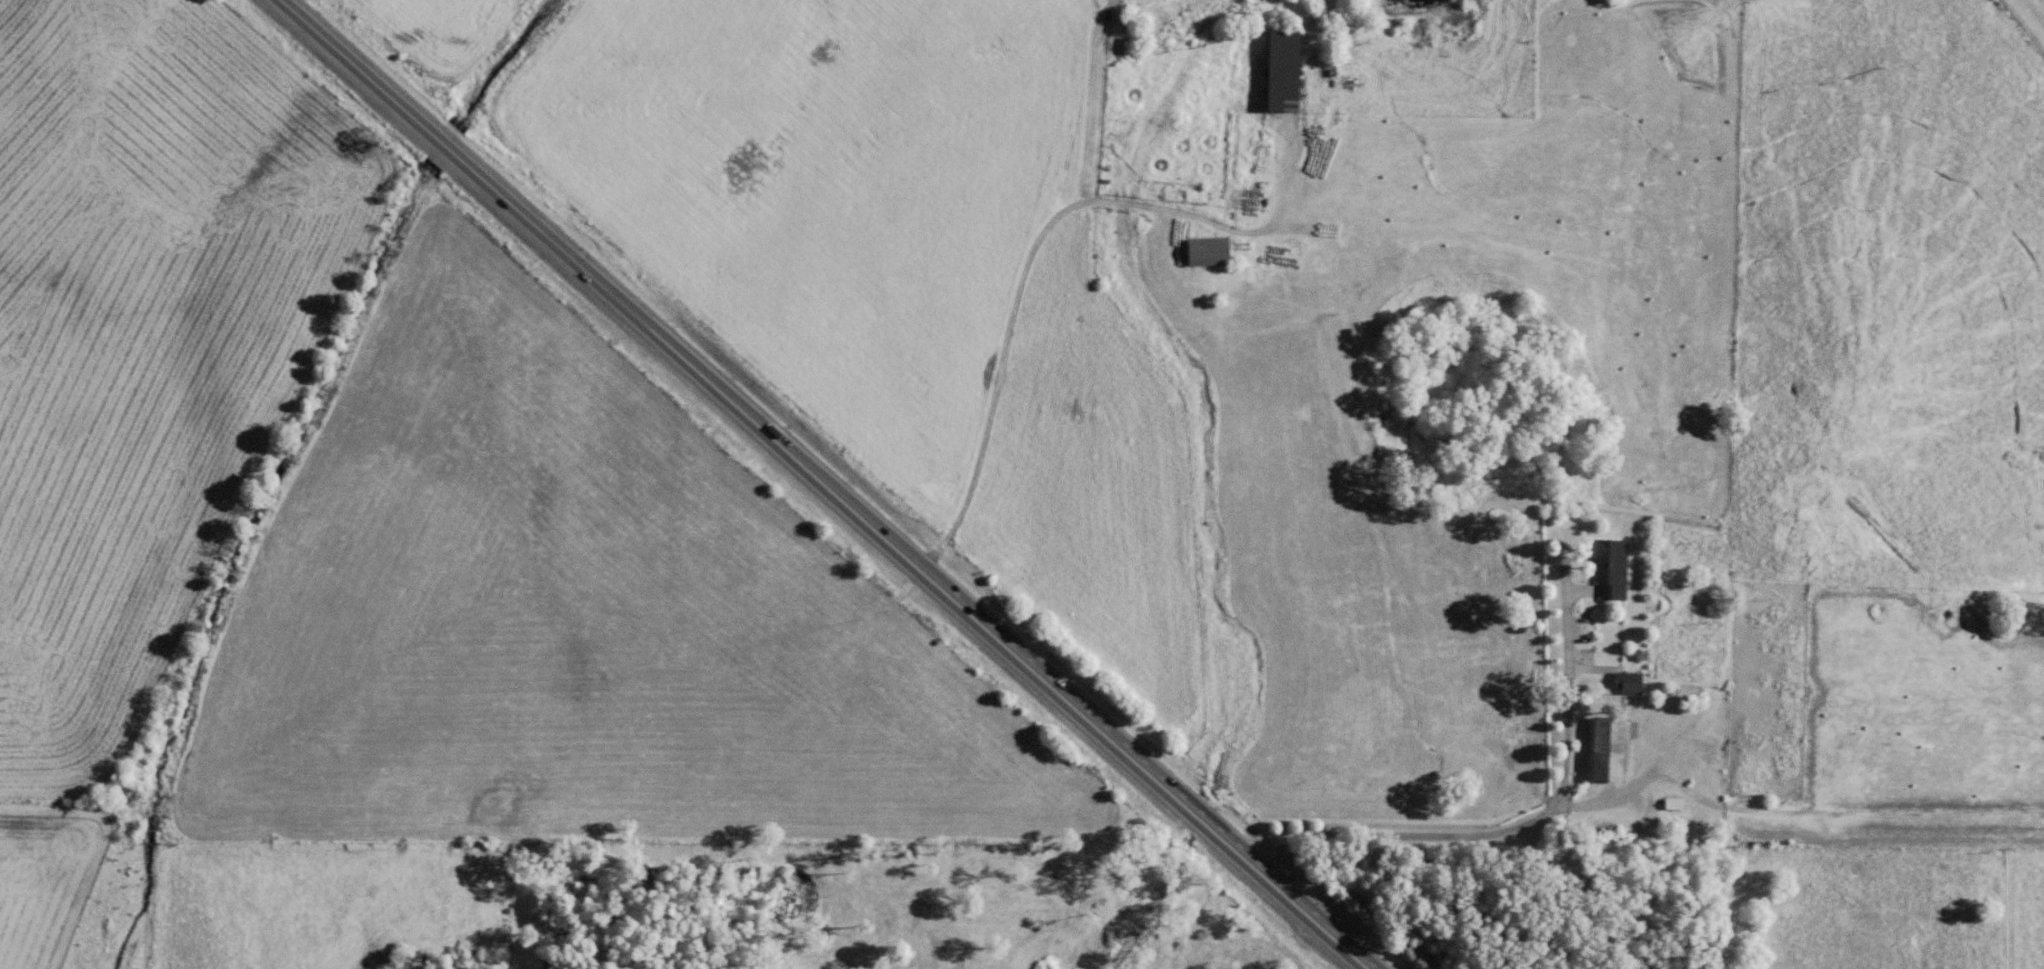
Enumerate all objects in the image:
building: (1283, 76)
building: (1208, 256)
road: (829, 484)
building: (1611, 573)
building: (1608, 752)

